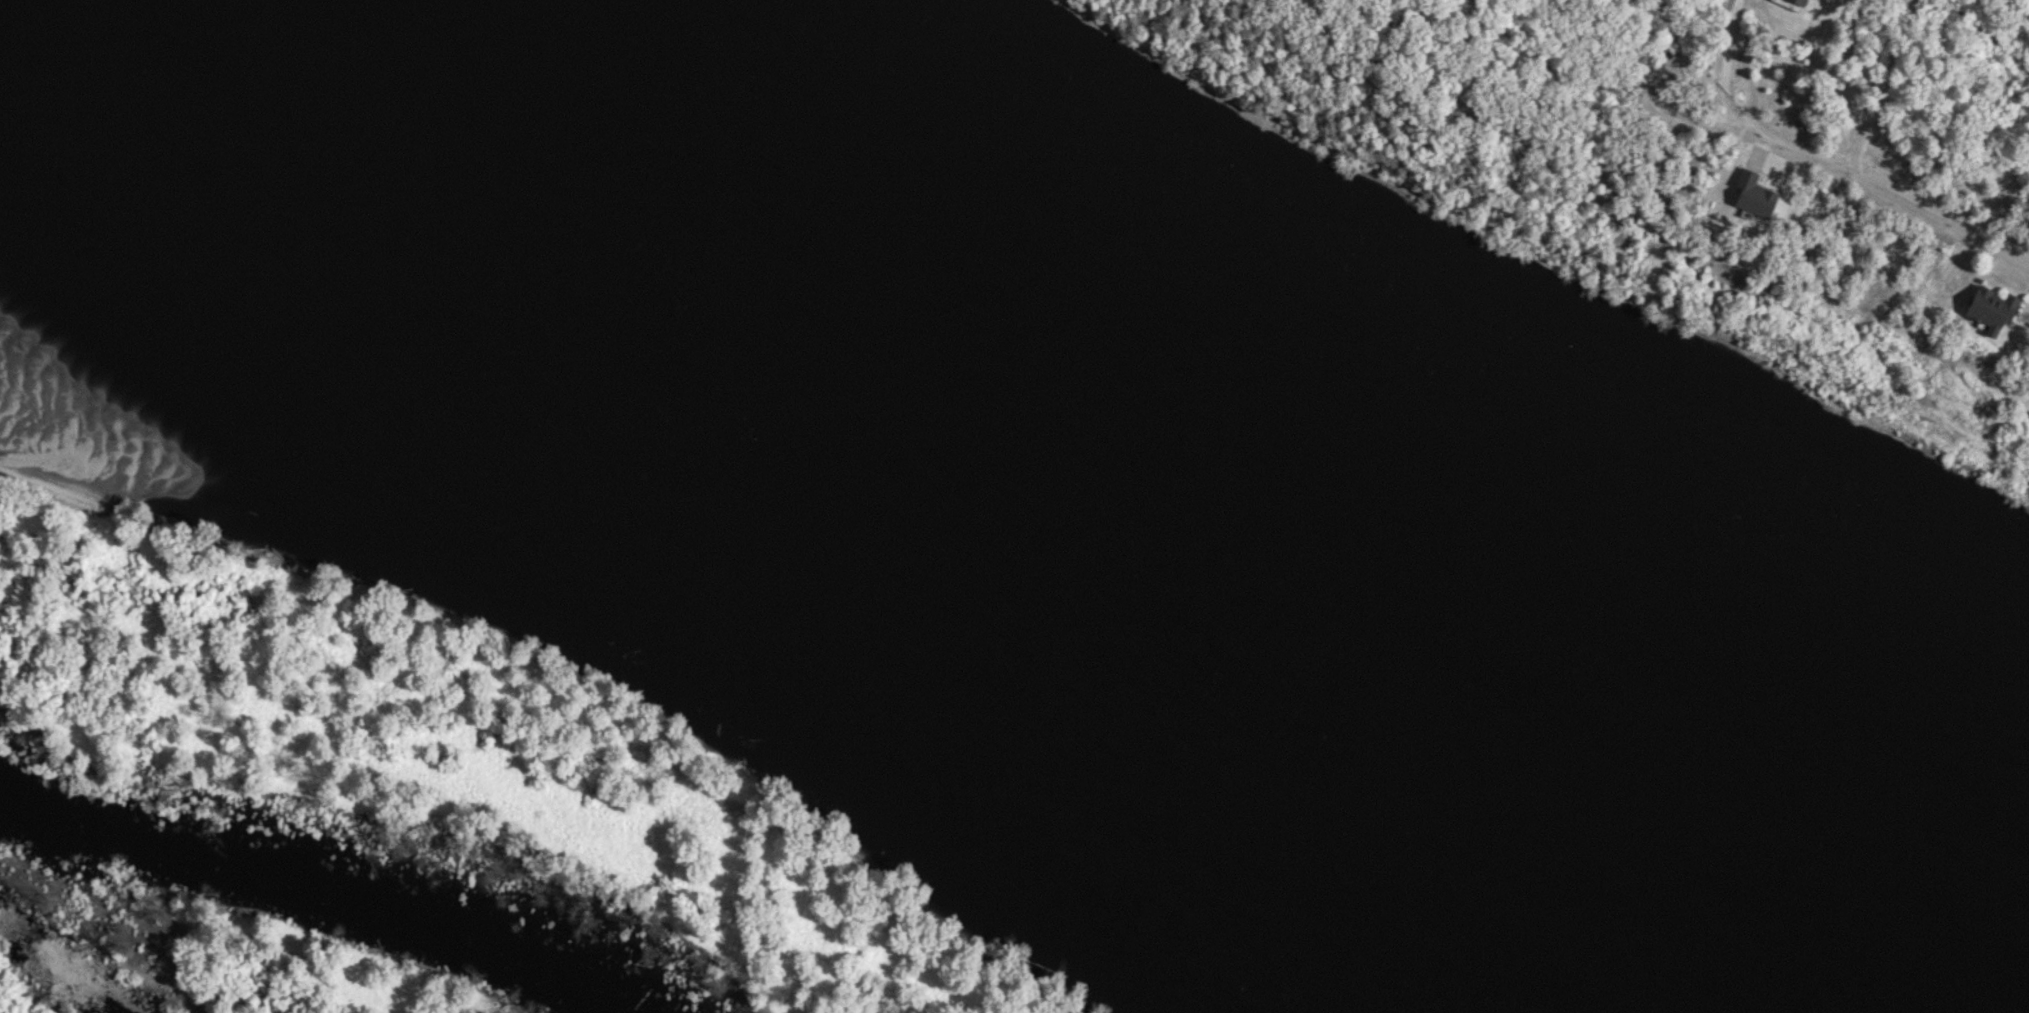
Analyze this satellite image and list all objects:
building: (1792, 3)
road: (1723, 59)
road: (1670, 64)
road: (1875, 191)
building: (1748, 196)
building: (1986, 311)

